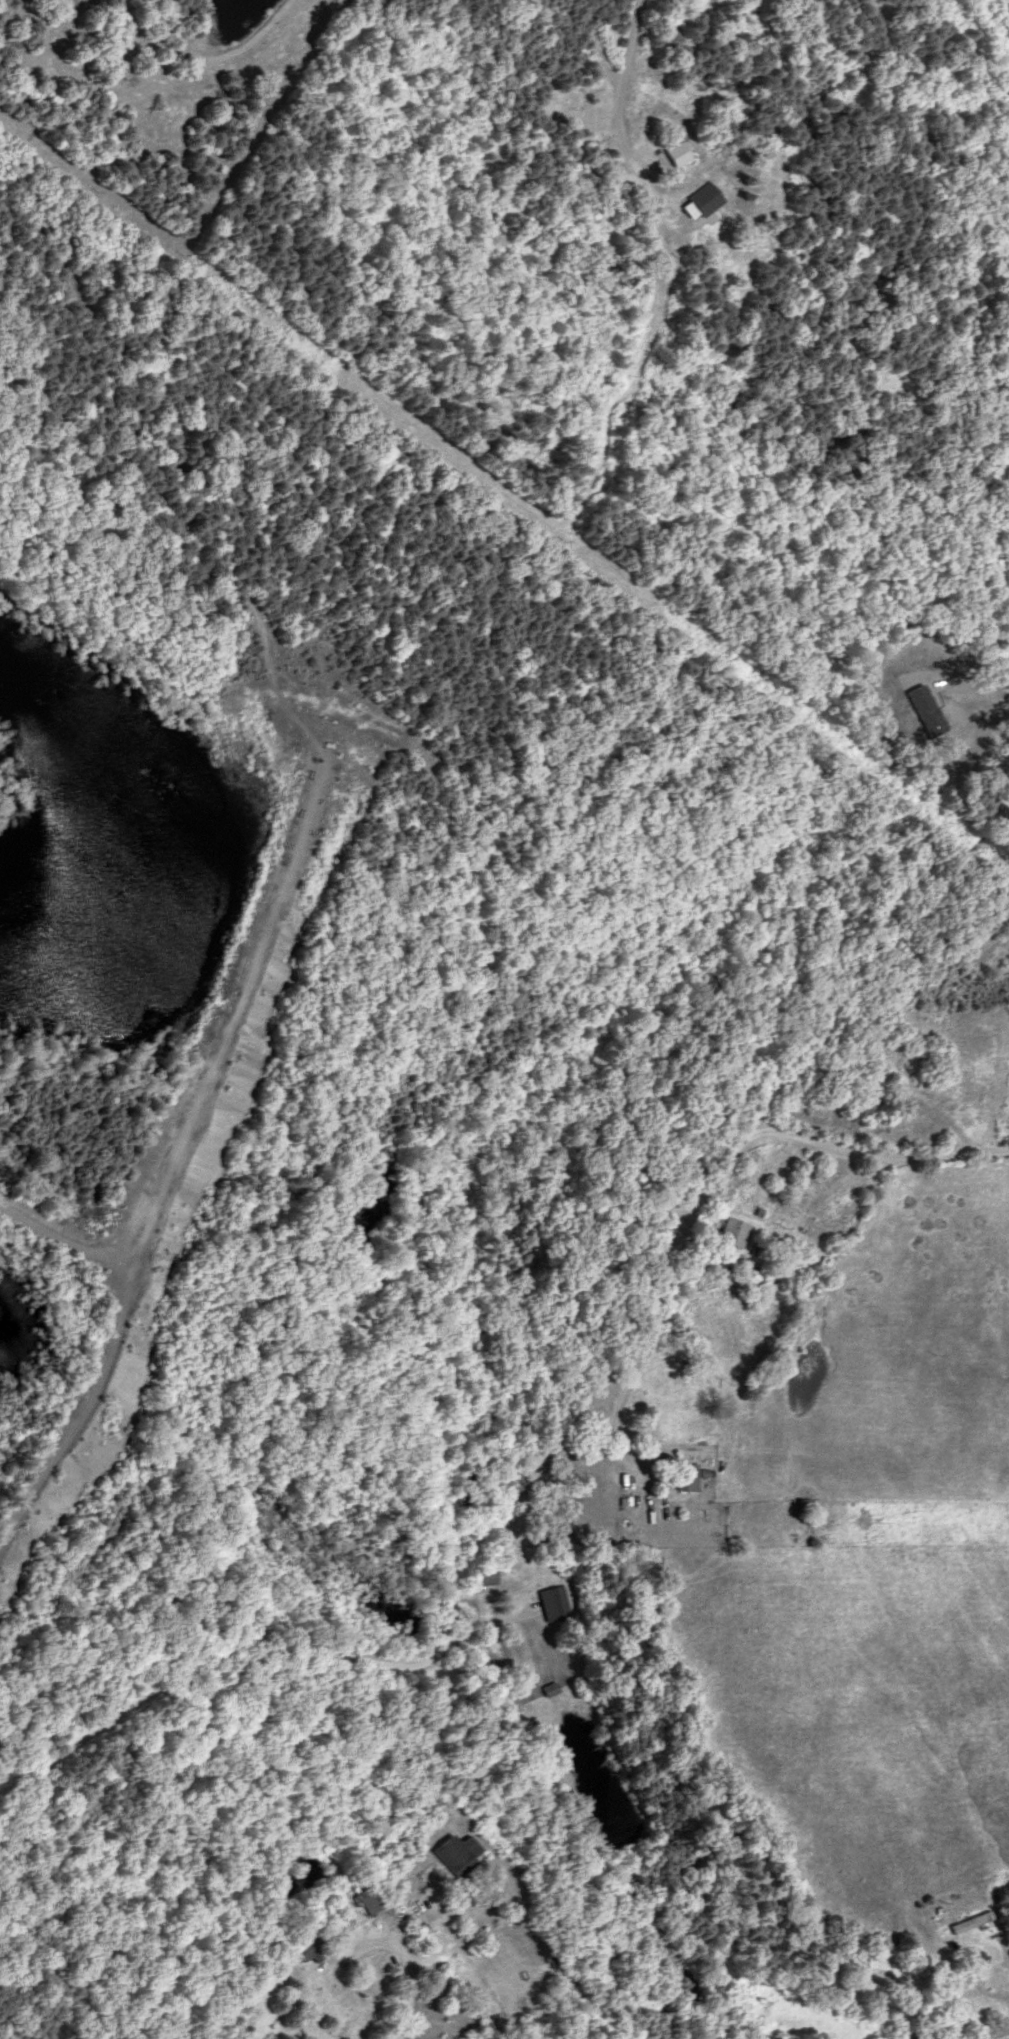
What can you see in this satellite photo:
road: (615, 118)
building: (863, 1097)
road: (717, 1169)
building: (733, 1233)
building: (682, 1477)
building: (477, 1575)
building: (531, 1590)
road: (227, 1641)
building: (540, 1689)
building: (453, 1854)
building: (363, 1900)
building: (966, 1922)
building: (302, 1947)
road: (379, 1948)
road: (438, 1948)
road: (1004, 1950)
road: (397, 2003)

